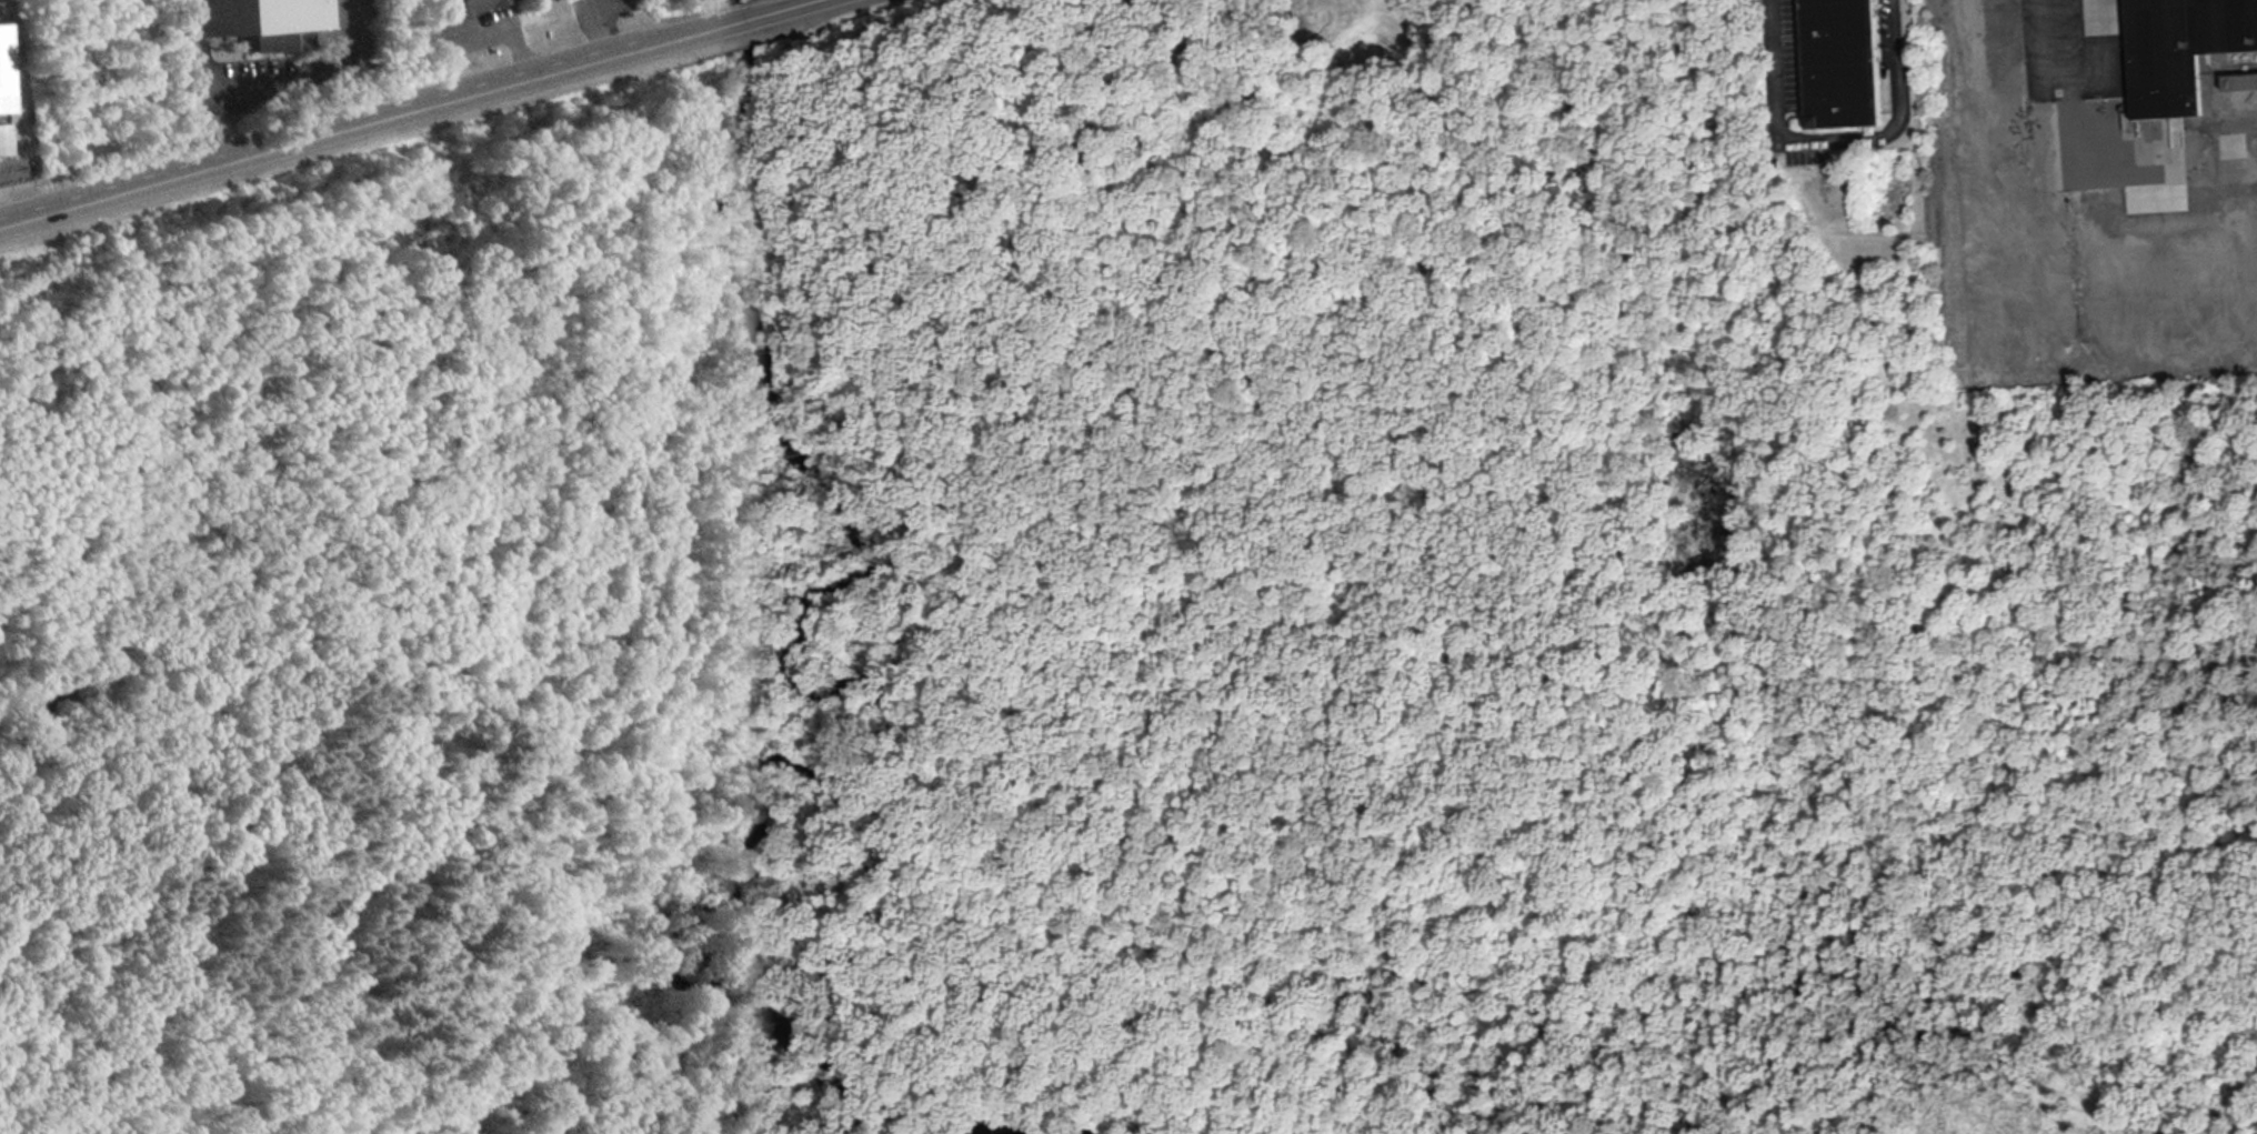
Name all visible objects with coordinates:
building: (467, 6)
building: (253, 20)
road: (722, 20)
road: (594, 24)
road: (477, 34)
building: (2179, 49)
road: (803, 56)
building: (1839, 61)
building: (1, 73)
building: (2239, 80)
road: (192, 104)
road: (319, 130)
road: (1839, 137)
building: (1, 139)
road: (2007, 234)
building: (1867, 243)
road: (780, 395)
road: (1431, 553)
park: (1103, 622)
road: (546, 777)

